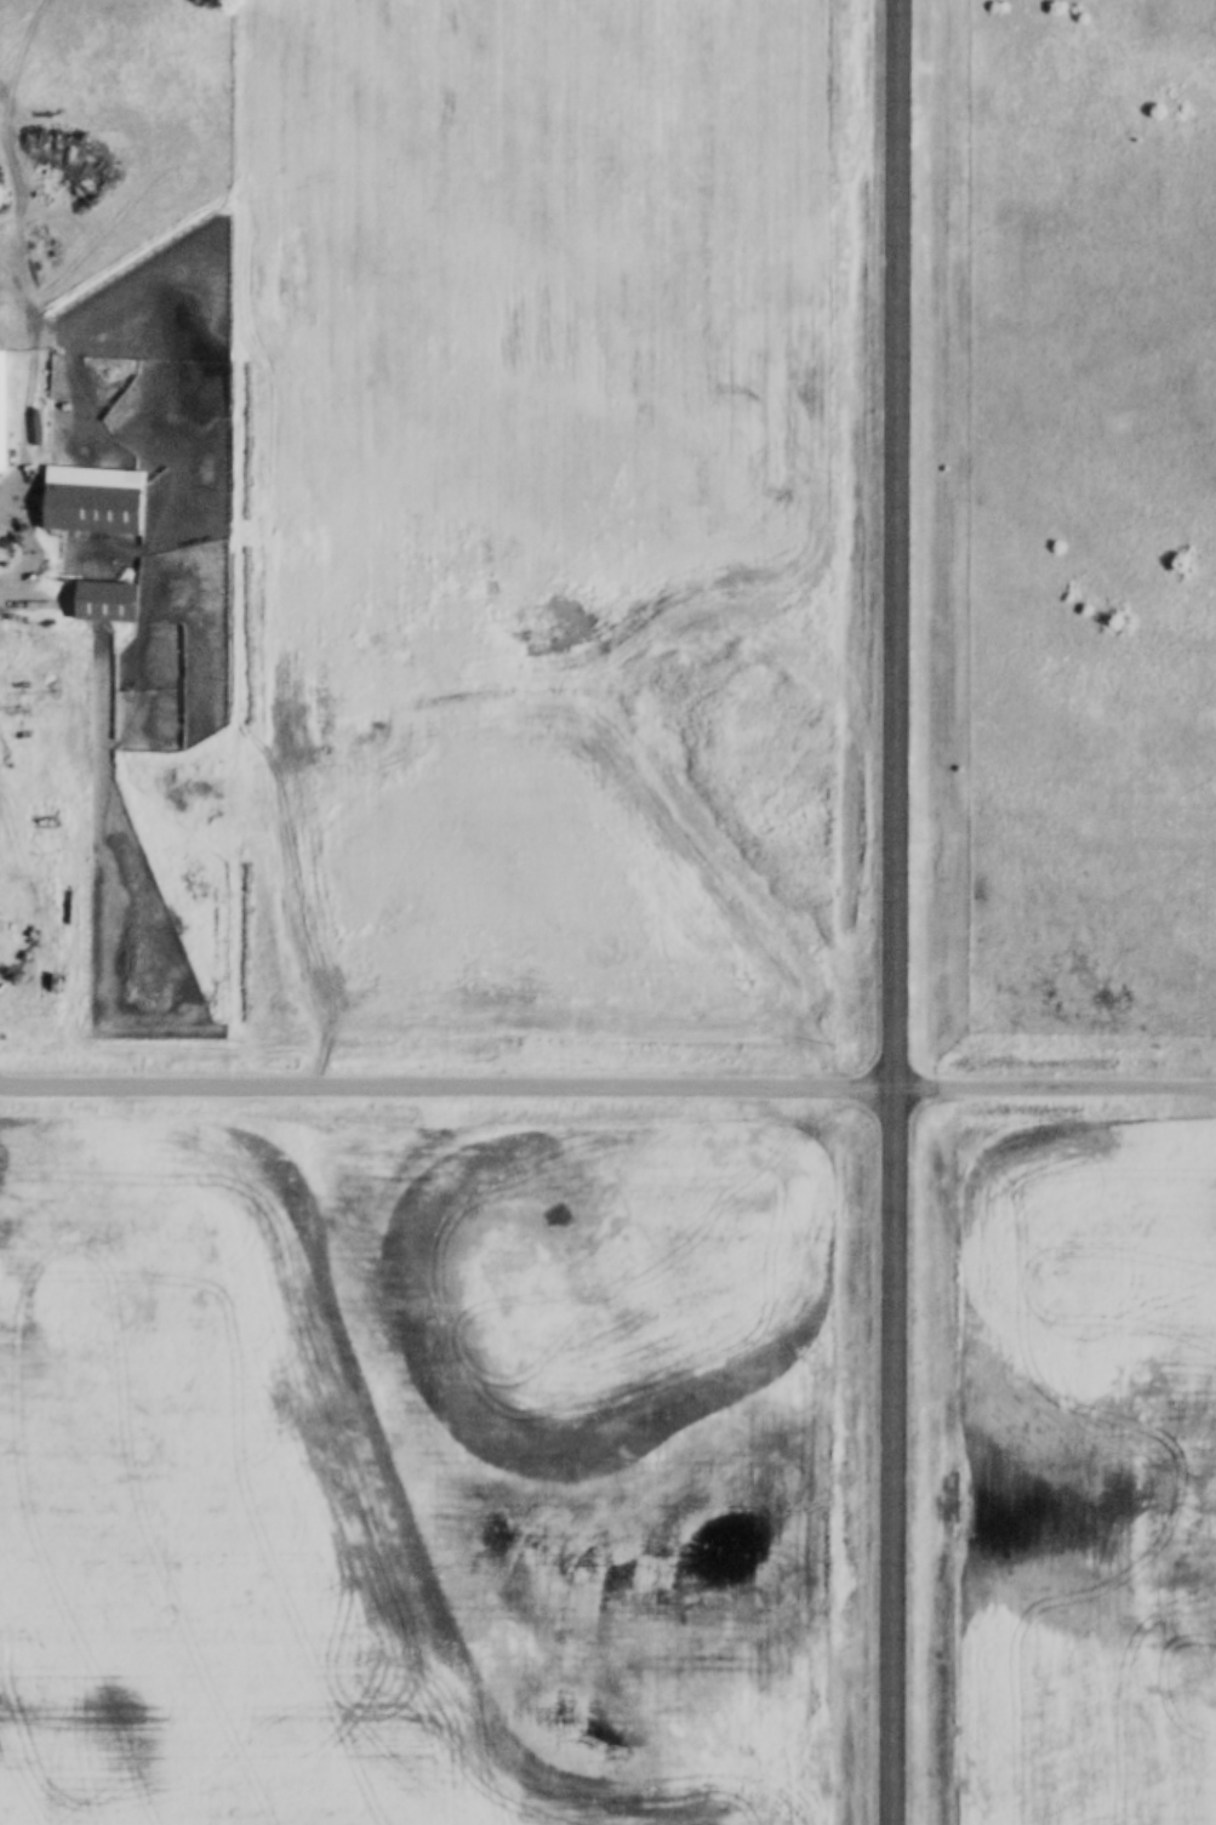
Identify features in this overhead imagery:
building: (93, 498)
building: (107, 600)
road: (895, 912)
road: (447, 1078)
road: (1055, 1078)

